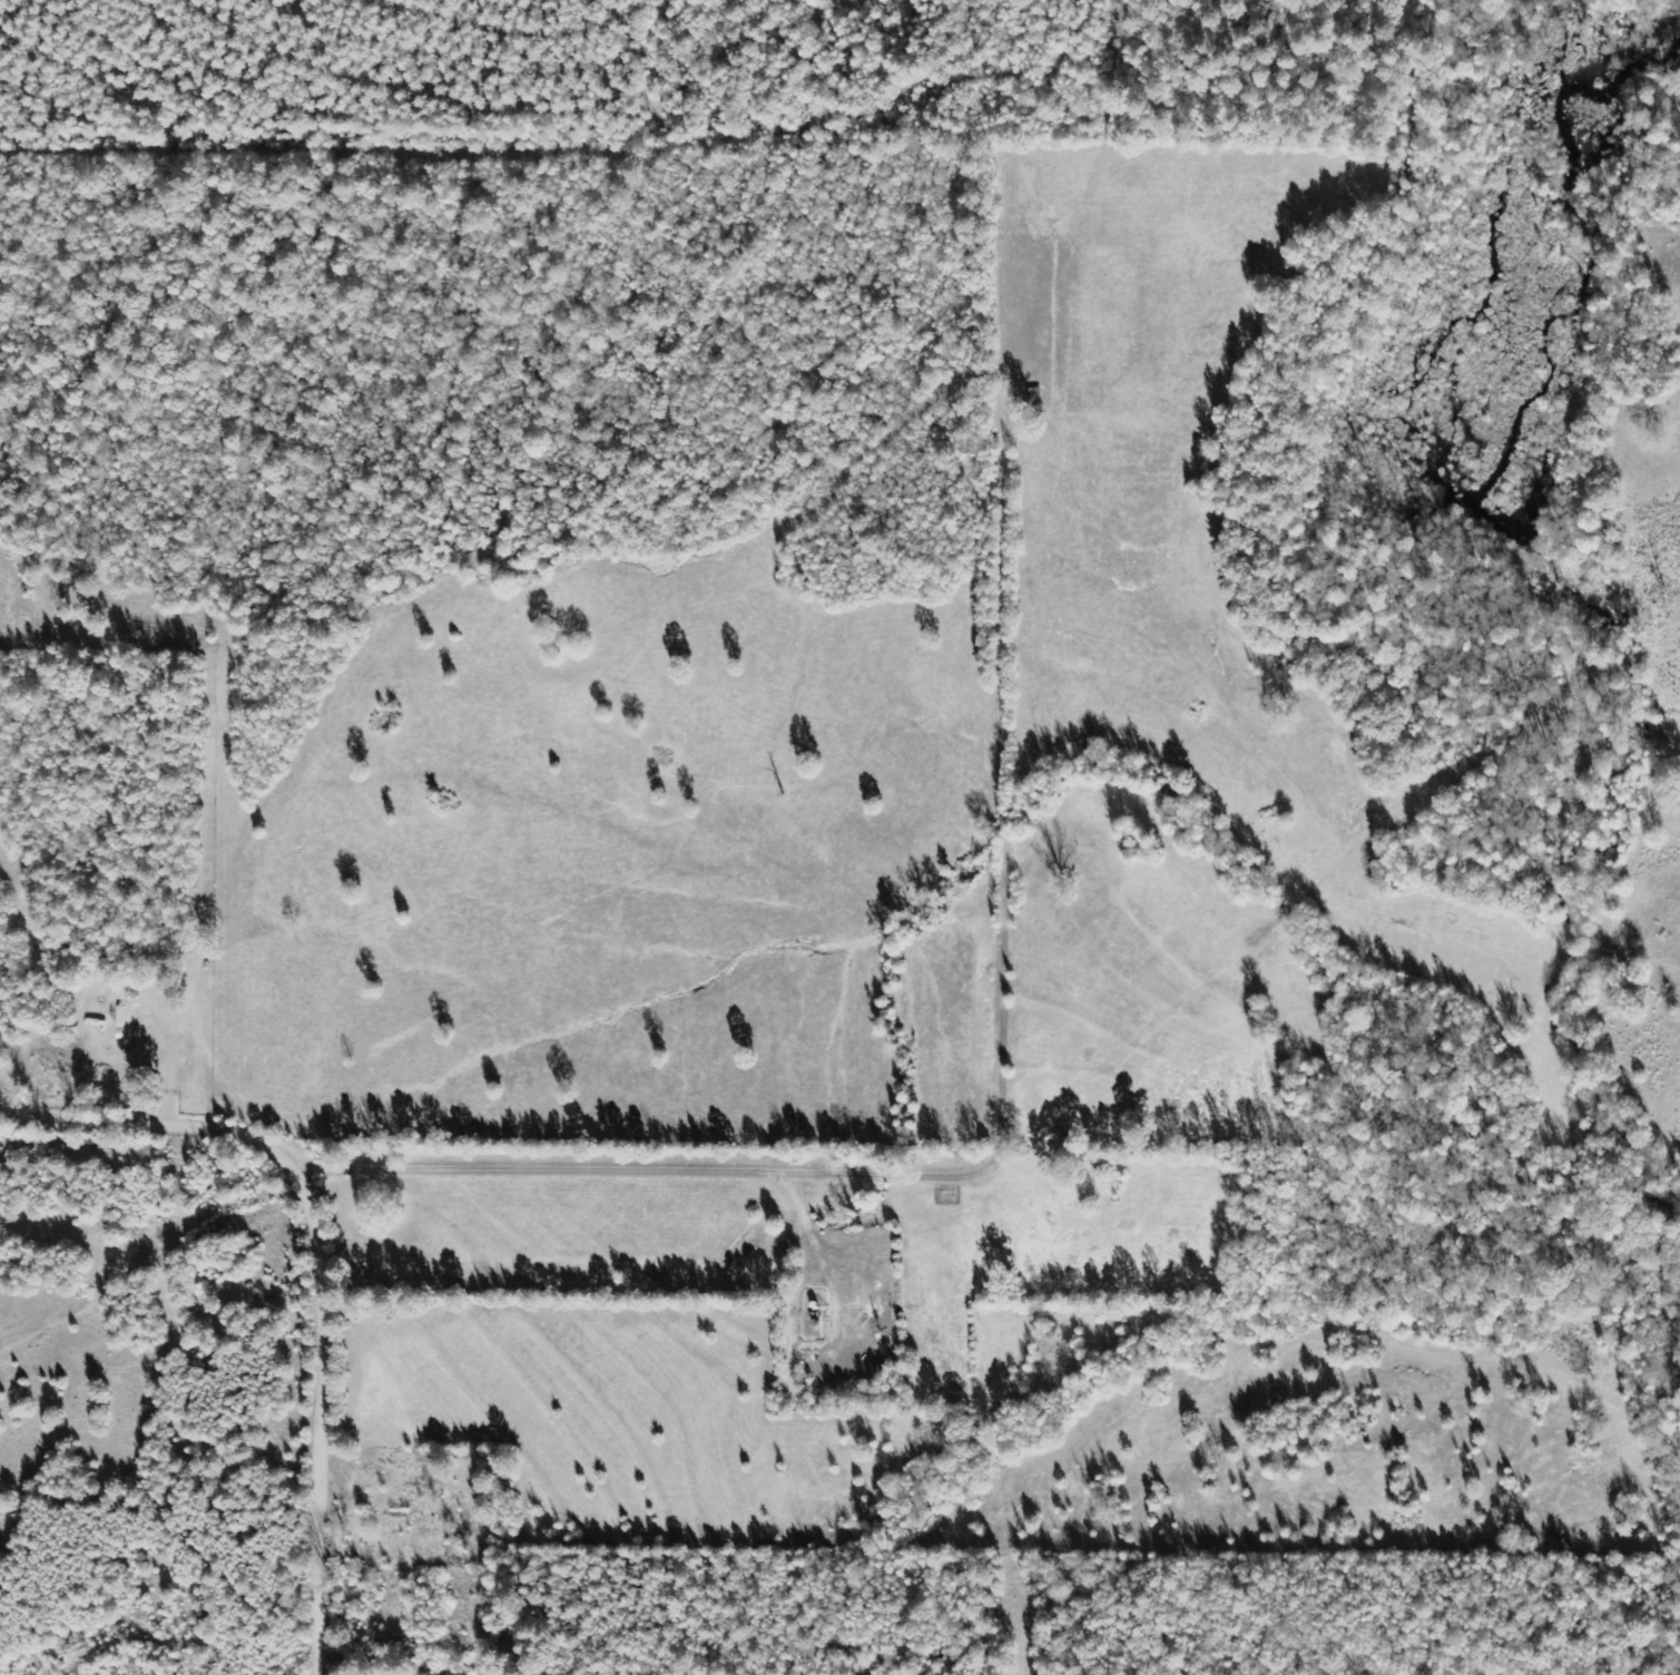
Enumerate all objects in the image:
road: (605, 1166)
road: (324, 1258)

